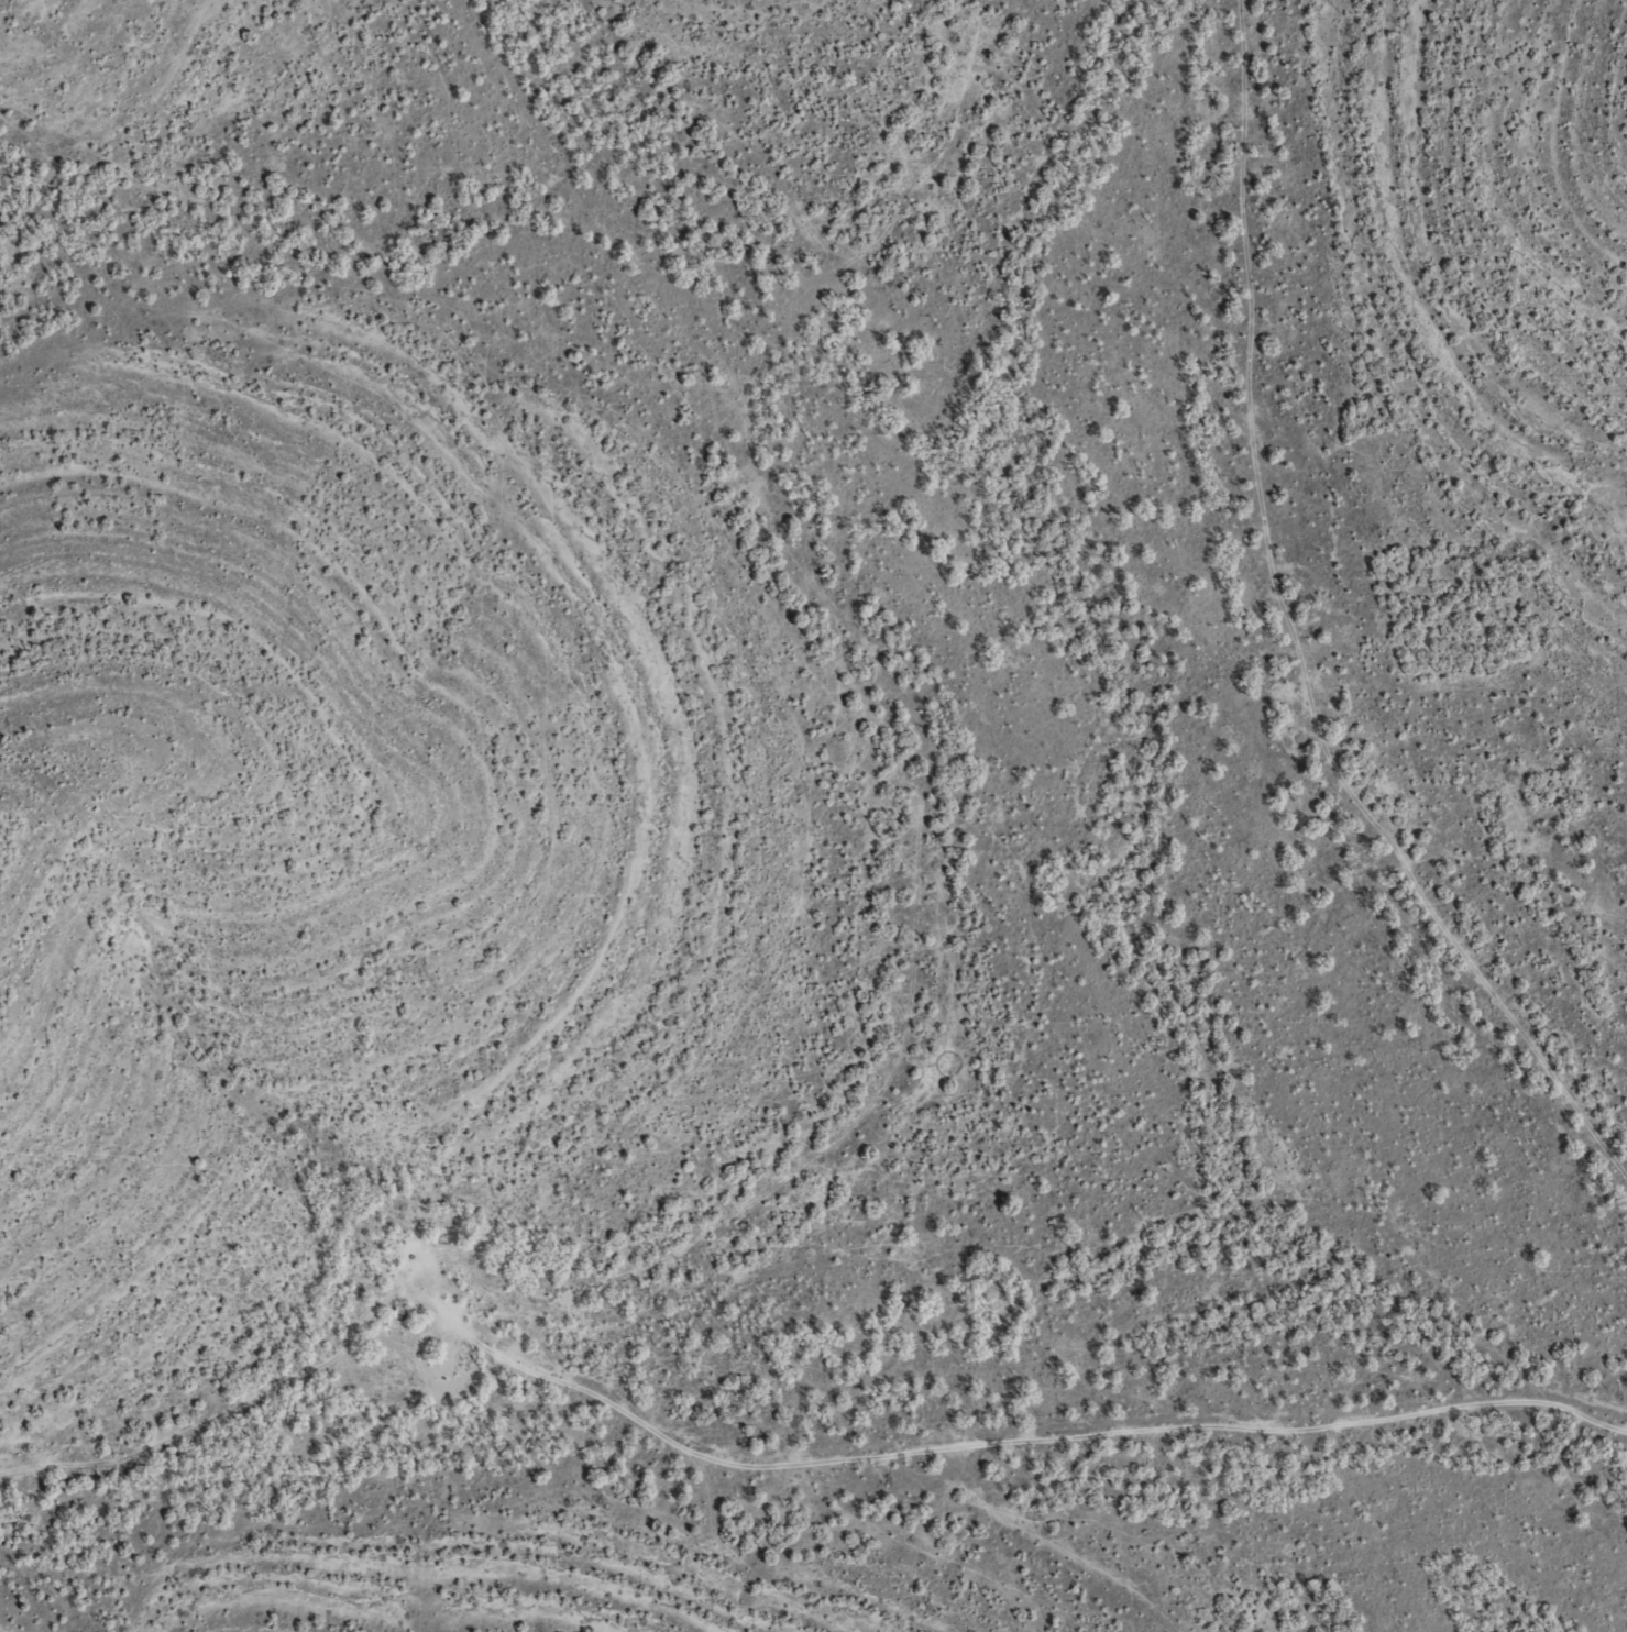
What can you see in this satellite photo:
road: (1033, 1426)

